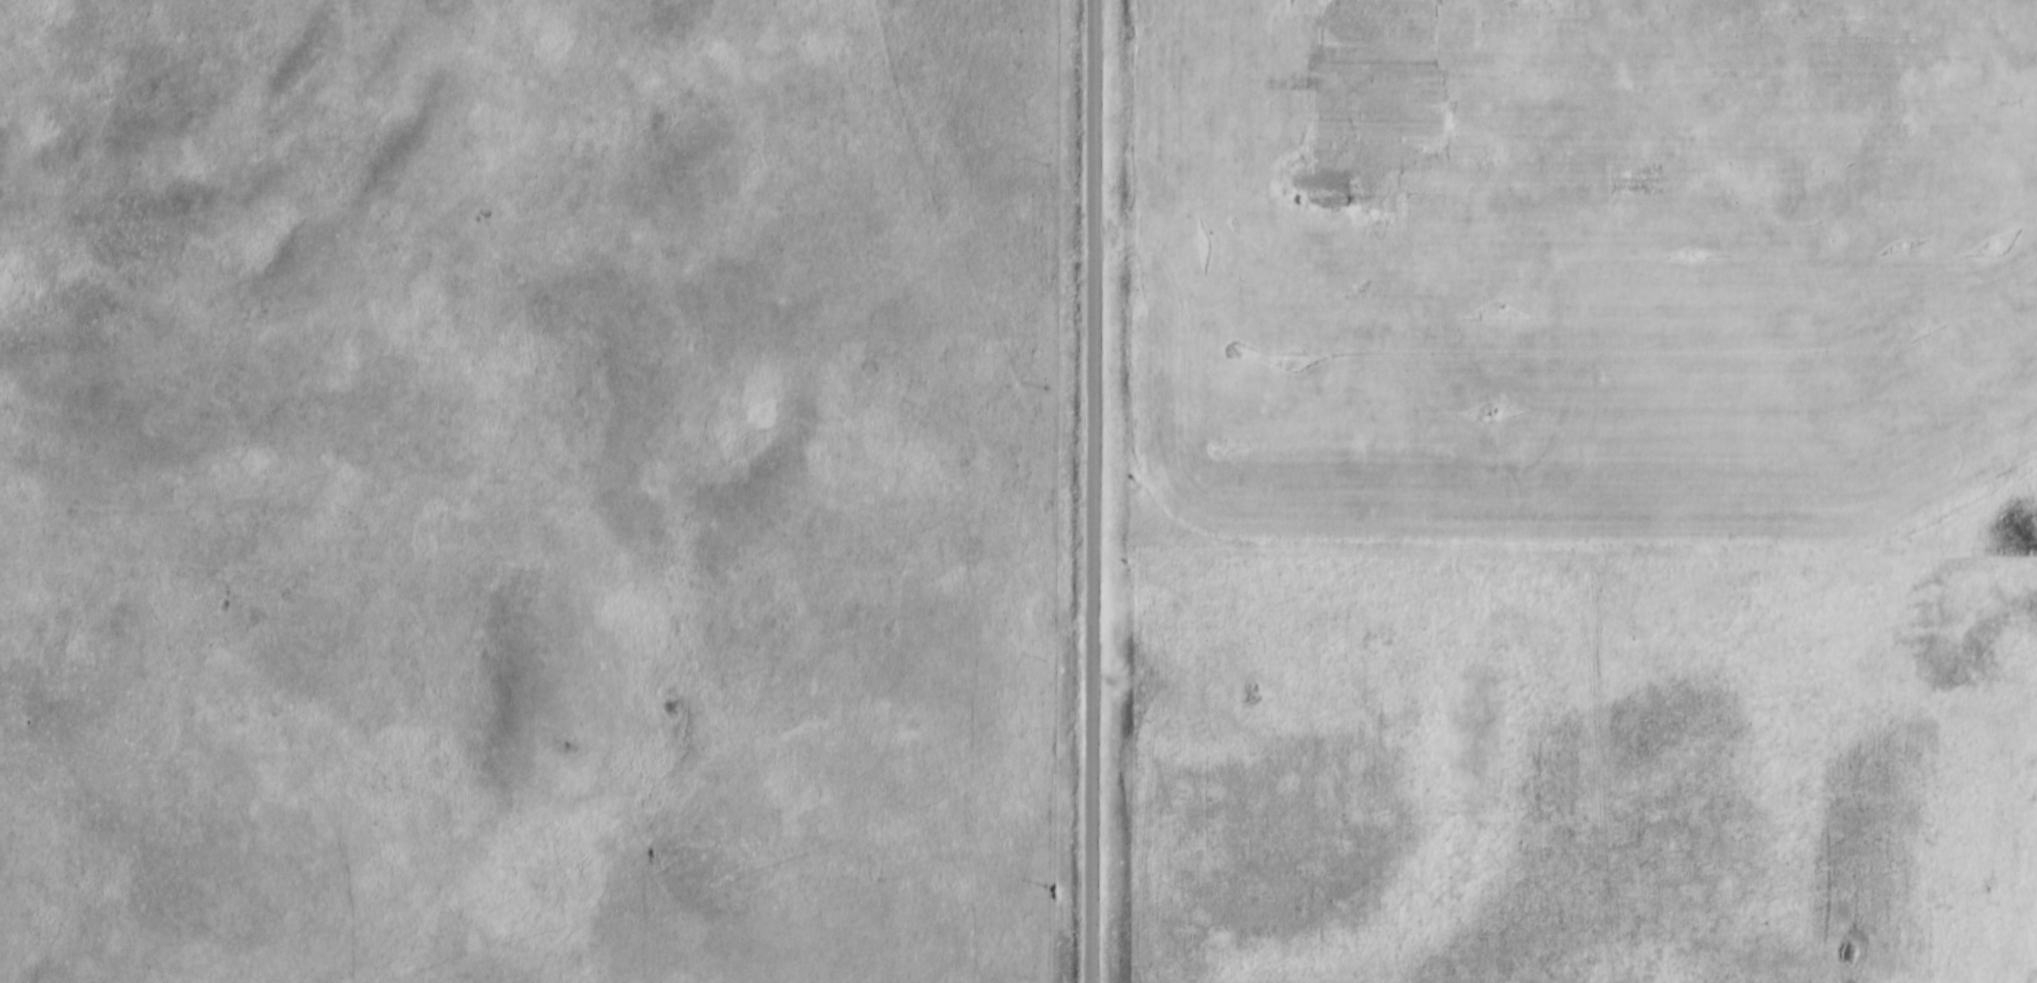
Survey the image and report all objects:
road: (1092, 491)

